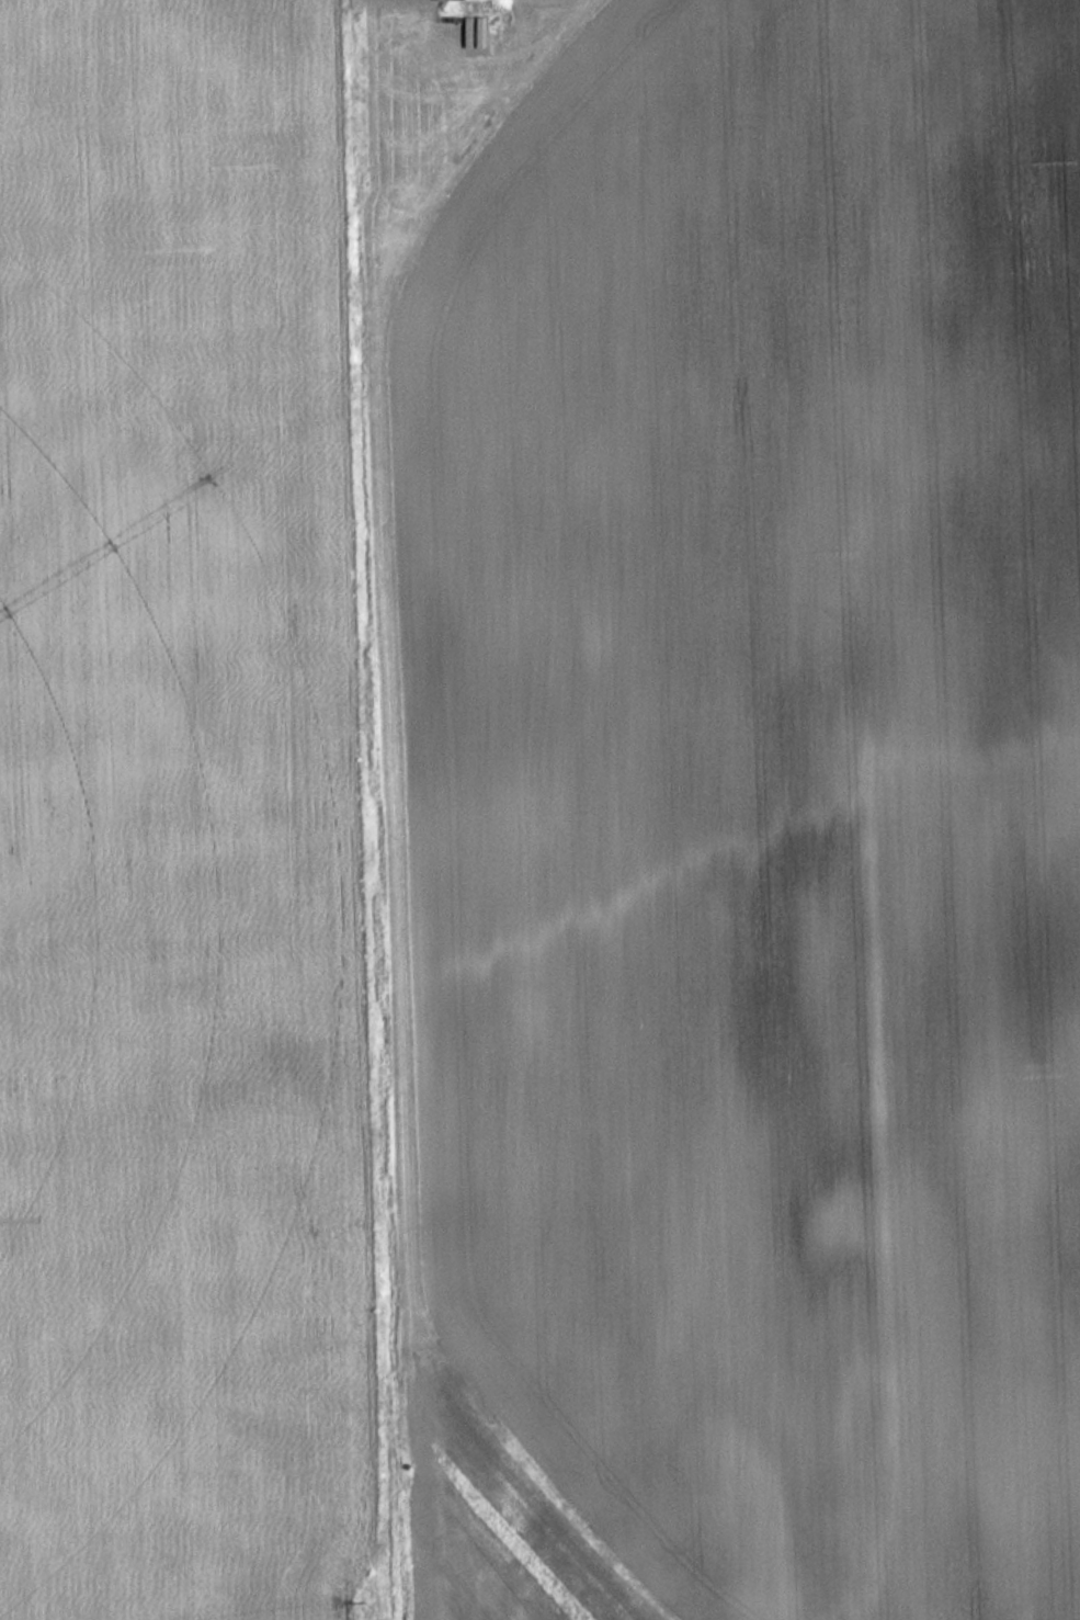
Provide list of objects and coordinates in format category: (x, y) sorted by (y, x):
building: (477, 1)

